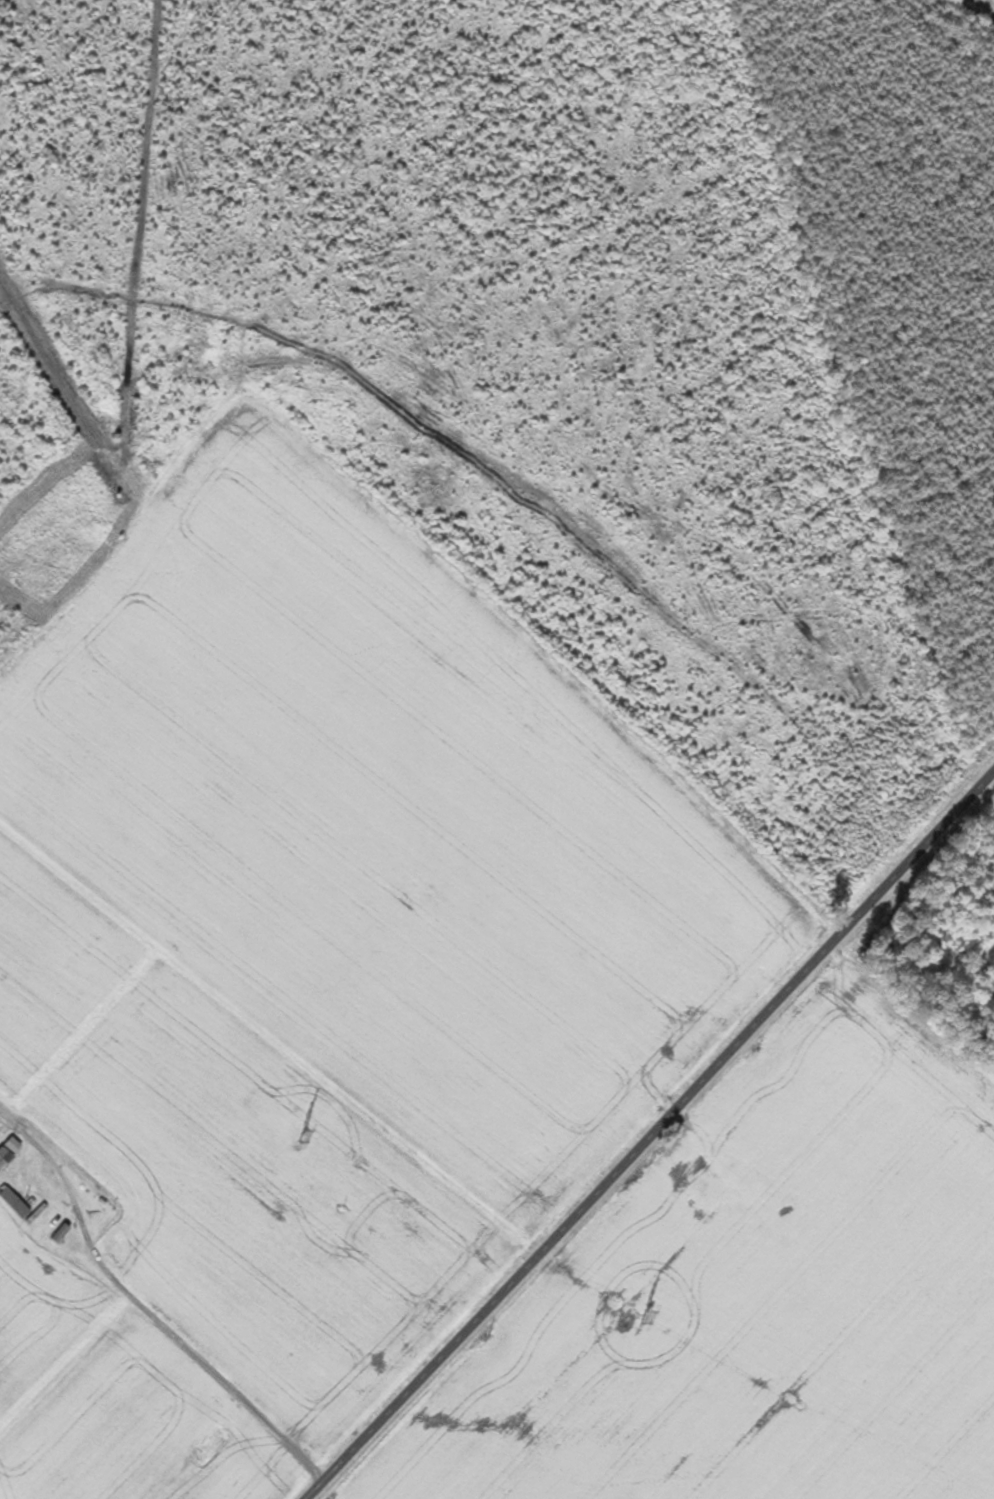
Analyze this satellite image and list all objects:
power tower: (305, 1136)
road: (650, 1137)
building: (10, 1151)
building: (15, 1202)
building: (62, 1228)
road: (144, 1312)
power tower: (643, 1319)

